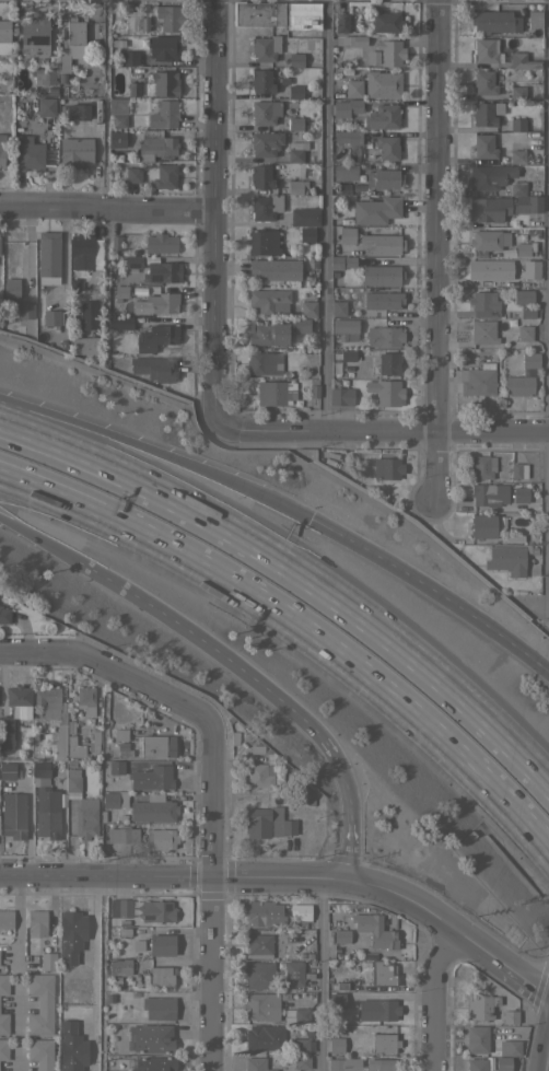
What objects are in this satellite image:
building: (259, 13)
building: (302, 16)
building: (171, 18)
building: (535, 19)
building: (341, 22)
building: (387, 22)
building: (495, 22)
building: (144, 24)
building: (74, 31)
building: (4, 36)
building: (35, 36)
building: (353, 39)
building: (118, 44)
building: (164, 47)
building: (265, 47)
building: (487, 50)
building: (390, 51)
building: (130, 57)
building: (373, 57)
building: (295, 59)
building: (523, 60)
building: (54, 71)
building: (261, 80)
building: (283, 81)
building: (165, 82)
building: (484, 82)
building: (383, 83)
building: (353, 88)
building: (133, 89)
building: (295, 91)
building: (517, 92)
building: (118, 105)
building: (46, 106)
building: (347, 107)
building: (78, 110)
building: (487, 112)
building: (163, 114)
building: (265, 114)
building: (383, 116)
building: (117, 120)
building: (295, 124)
building: (517, 124)
road: (96, 129)
building: (348, 136)
building: (115, 139)
building: (266, 143)
building: (160, 144)
building: (483, 145)
building: (387, 147)
building: (1, 149)
building: (75, 151)
building: (295, 151)
building: (28, 153)
building: (517, 156)
building: (346, 172)
building: (133, 174)
building: (162, 175)
building: (489, 175)
building: (261, 176)
building: (384, 178)
road: (95, 182)
building: (296, 186)
building: (517, 187)
building: (343, 188)
building: (266, 206)
road: (108, 207)
building: (501, 207)
road: (217, 208)
building: (376, 209)
road: (326, 214)
building: (305, 216)
building: (307, 234)
building: (347, 234)
building: (488, 238)
building: (262, 242)
building: (114, 243)
building: (161, 243)
building: (382, 243)
road: (433, 248)
building: (522, 248)
building: (84, 249)
building: (49, 253)
building: (478, 254)
building: (132, 261)
building: (341, 261)
building: (276, 269)
building: (483, 269)
building: (163, 271)
building: (382, 276)
building: (514, 280)
building: (12, 287)
building: (121, 291)
building: (522, 296)
building: (267, 299)
building: (383, 300)
building: (163, 302)
building: (483, 303)
building: (308, 309)
building: (339, 309)
building: (25, 310)
road: (546, 311)
building: (89, 314)
building: (526, 314)
building: (51, 317)
building: (120, 322)
building: (302, 325)
building: (344, 328)
building: (481, 331)
building: (267, 333)
building: (524, 333)
building: (384, 336)
building: (155, 337)
building: (85, 345)
building: (347, 354)
building: (530, 360)
building: (264, 362)
building: (388, 362)
building: (155, 368)
building: (477, 380)
building: (518, 385)
building: (274, 392)
building: (312, 392)
building: (385, 392)
building: (340, 393)
road: (383, 431)
road: (156, 451)
building: (481, 466)
building: (386, 468)
building: (517, 470)
building: (488, 493)
building: (519, 493)
building: (482, 525)
building: (506, 559)
road: (295, 567)
road: (432, 589)
road: (160, 608)
building: (4, 615)
road: (297, 630)
road: (108, 672)
building: (20, 699)
building: (85, 699)
building: (50, 702)
building: (7, 732)
building: (120, 734)
building: (94, 741)
building: (59, 743)
building: (157, 745)
building: (74, 746)
building: (270, 756)
road: (338, 761)
building: (116, 767)
building: (8, 770)
building: (257, 776)
building: (151, 778)
building: (280, 779)
building: (72, 783)
building: (45, 803)
building: (142, 805)
building: (13, 815)
building: (85, 817)
building: (267, 823)
building: (122, 835)
building: (160, 838)
road: (349, 846)
road: (149, 858)
road: (172, 875)
road: (209, 898)
building: (120, 907)
building: (300, 908)
road: (428, 909)
building: (156, 910)
building: (258, 912)
building: (5, 919)
building: (36, 922)
building: (374, 930)
building: (71, 934)
building: (341, 935)
building: (161, 944)
building: (258, 946)
building: (47, 961)
building: (120, 966)
road: (16, 973)
road: (95, 973)
building: (382, 973)
building: (258, 974)
building: (293, 974)
building: (162, 975)
road: (319, 975)
road: (524, 981)
building: (340, 982)
building: (3, 983)
road: (433, 997)
building: (338, 1001)
building: (40, 1003)
building: (261, 1005)
building: (480, 1006)
building: (157, 1008)
building: (386, 1010)
building: (297, 1014)
building: (510, 1016)
building: (3, 1023)
building: (151, 1037)
building: (264, 1037)
building: (477, 1039)
building: (383, 1043)
building: (336, 1045)
building: (71, 1046)
building: (300, 1046)
building: (509, 1047)
building: (3, 1049)
building: (39, 1053)
road: (547, 1059)
building: (302, 1061)
building: (153, 1063)
building: (256, 1063)
building: (503, 1063)
building: (343, 1064)
building: (381, 1064)
building: (476, 1064)

